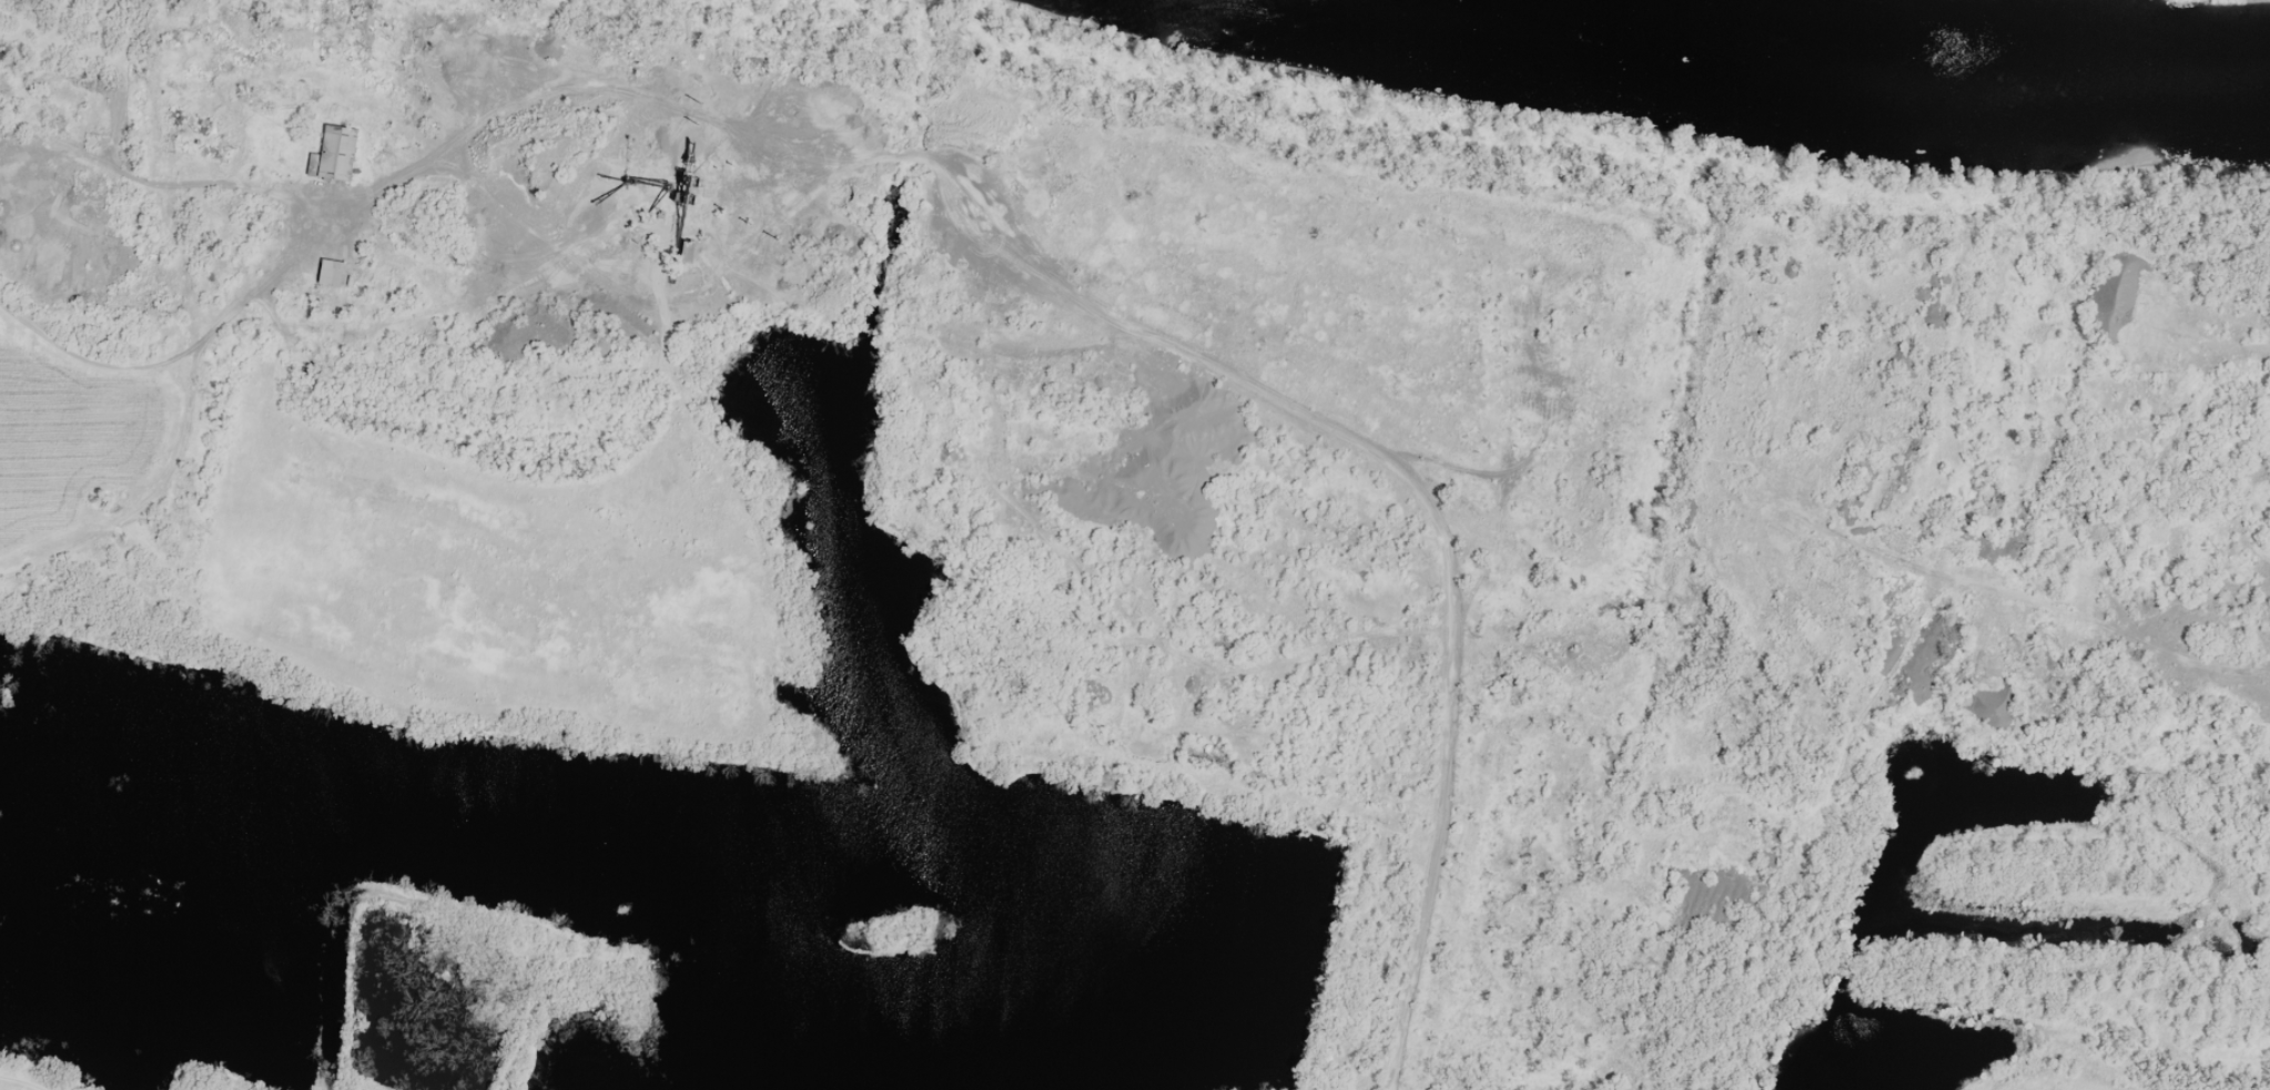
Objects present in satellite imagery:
river: (1649, 19)
river: (1841, 58)
building: (201, 124)
building: (333, 152)

